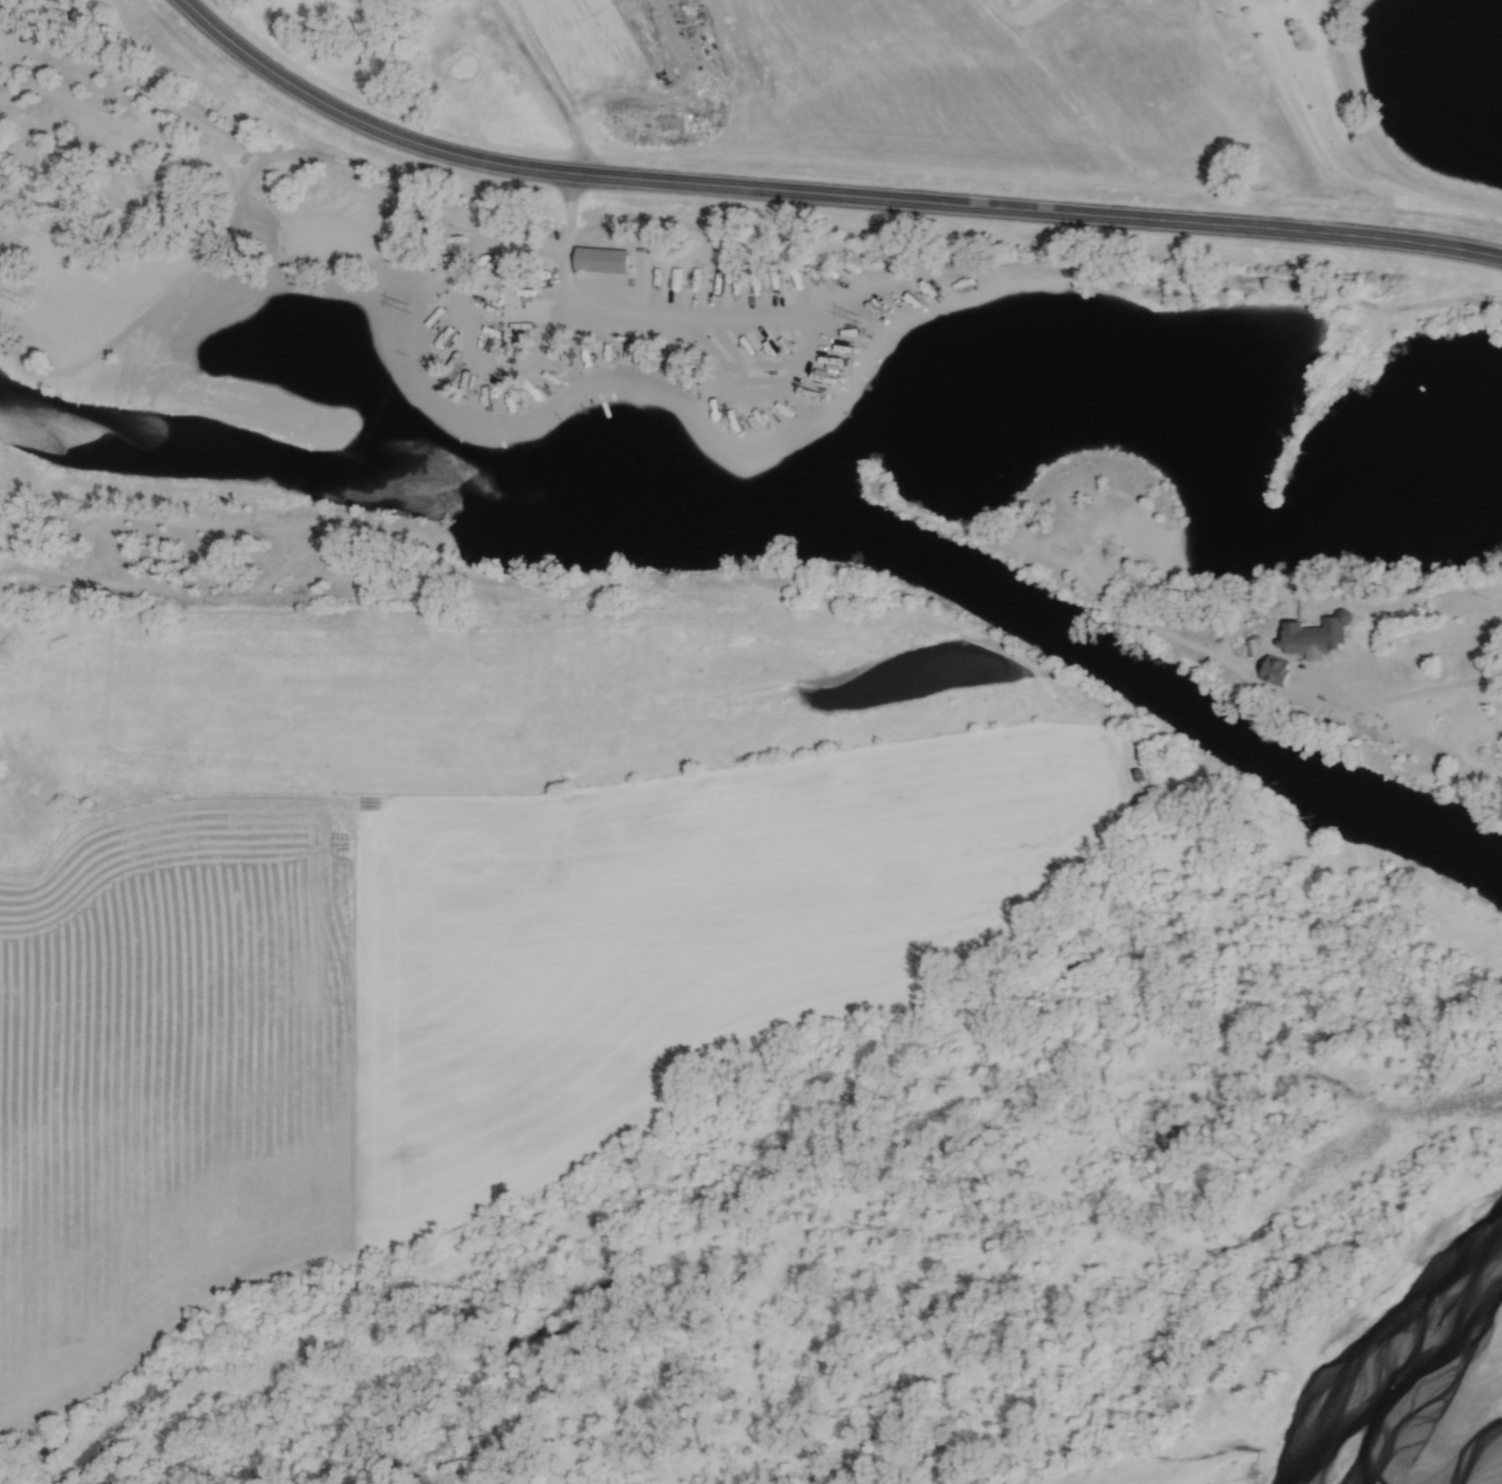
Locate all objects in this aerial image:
road: (1371, 141)
road: (815, 198)
road: (570, 249)
building: (595, 259)
building: (634, 278)
building: (172, 555)
building: (1319, 639)
building: (1256, 649)
building: (1281, 672)
road: (1418, 693)
road: (1294, 698)

